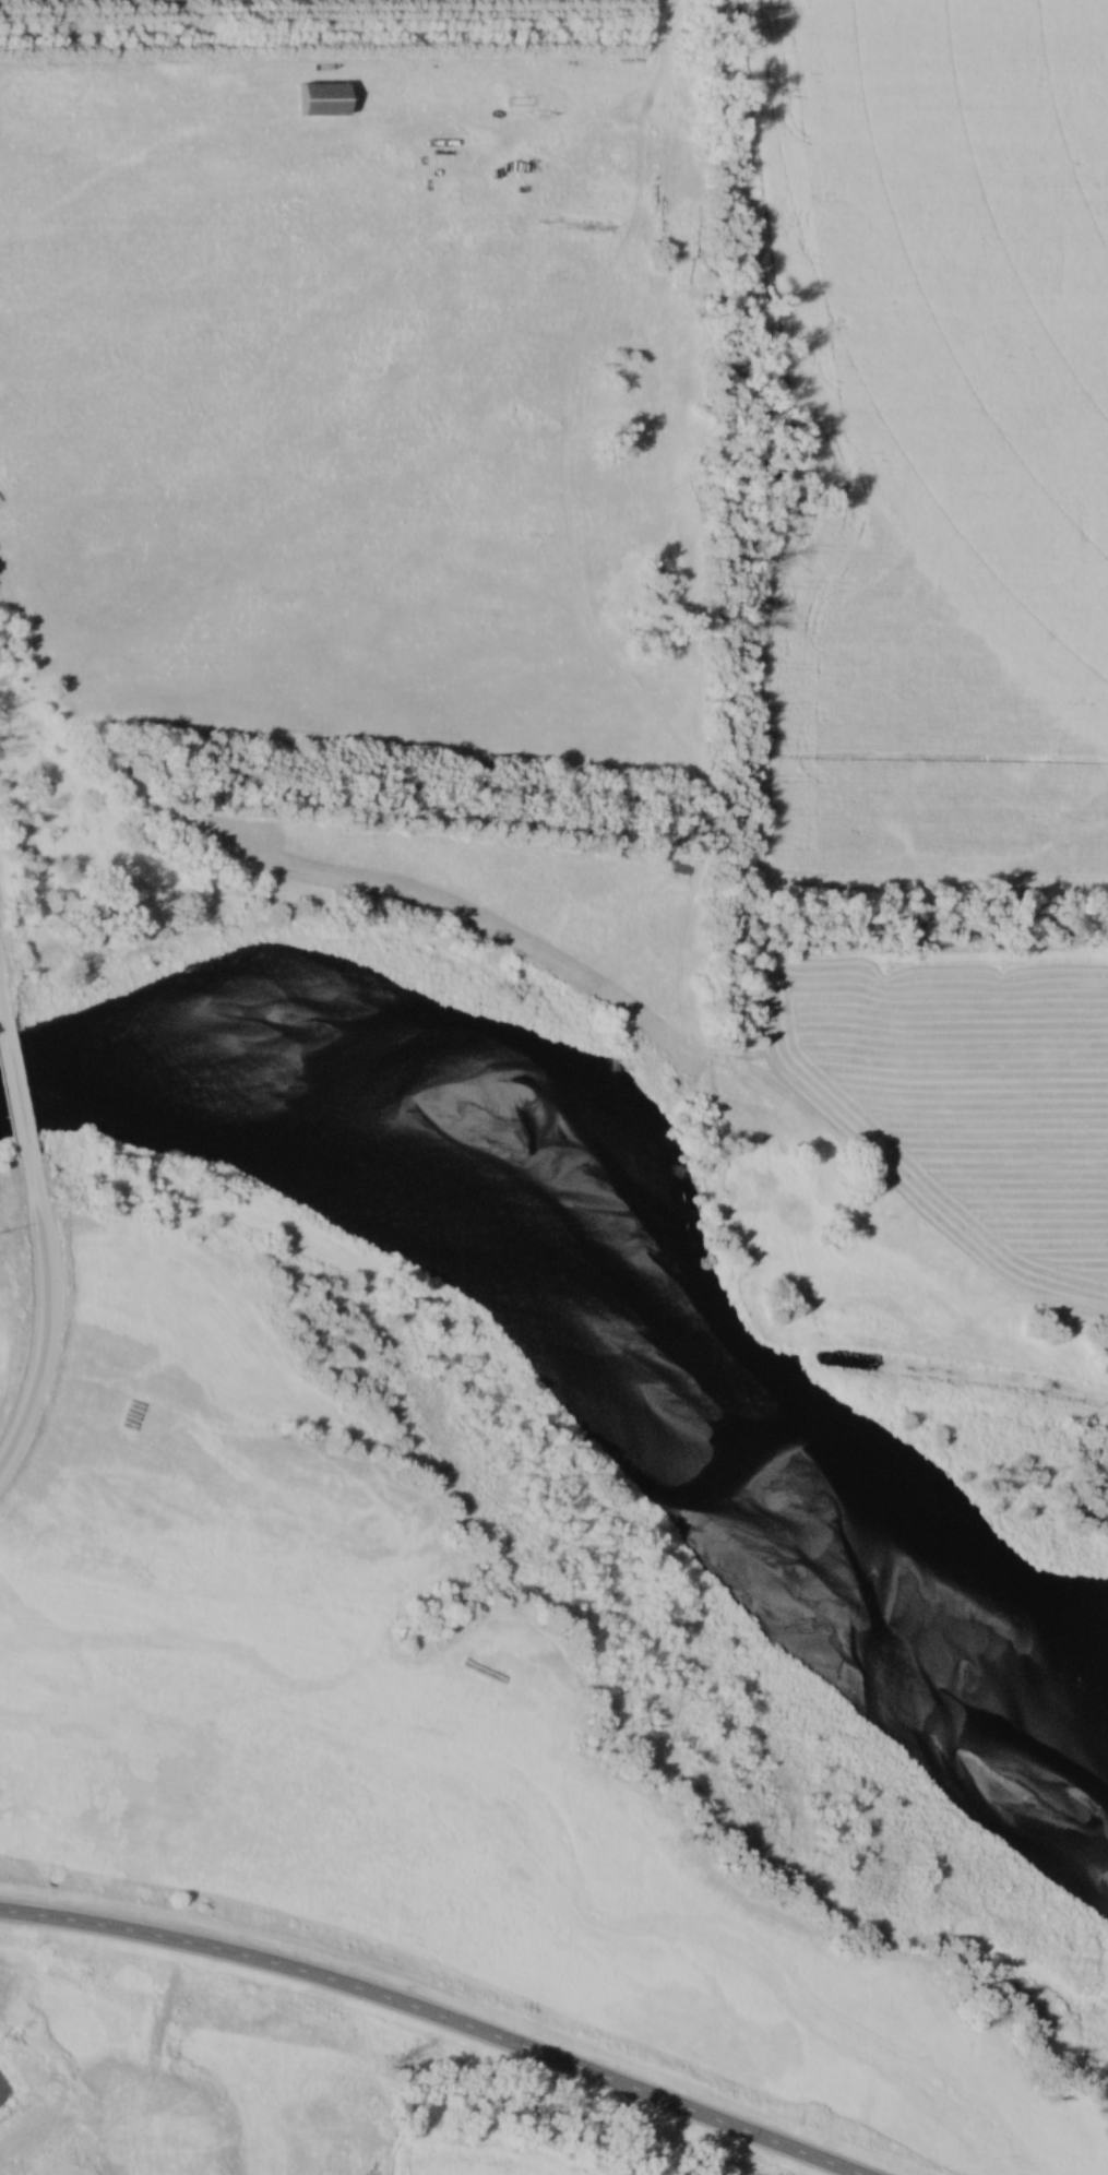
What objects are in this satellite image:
building: (684, 875)
road: (3, 1003)
road: (17, 1085)
river: (635, 1215)
road: (50, 1317)
road: (442, 2012)

